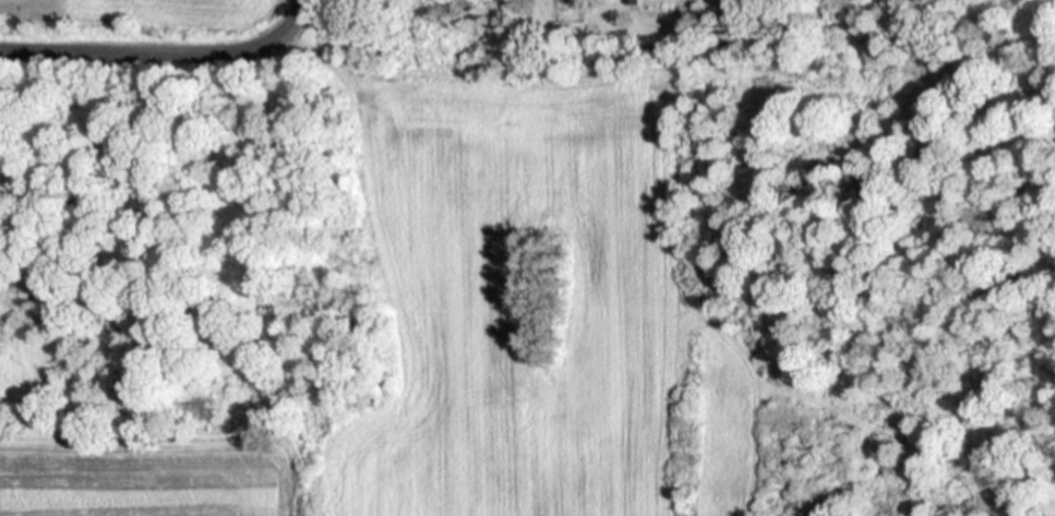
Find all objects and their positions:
road: (158, 49)

